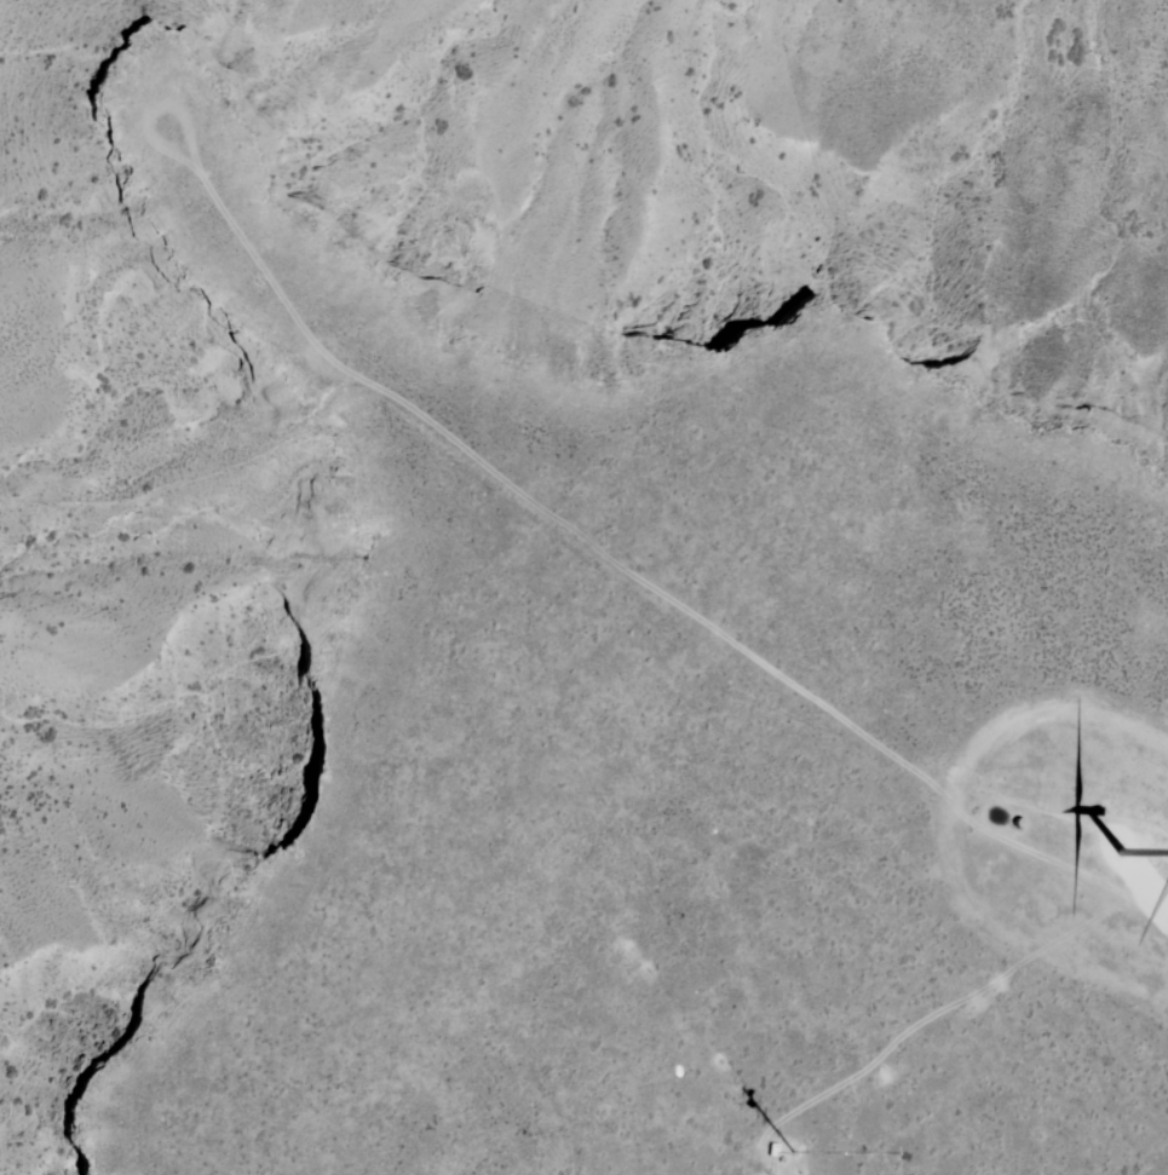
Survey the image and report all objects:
wind turbine: (1116, 847)
road: (1150, 886)

